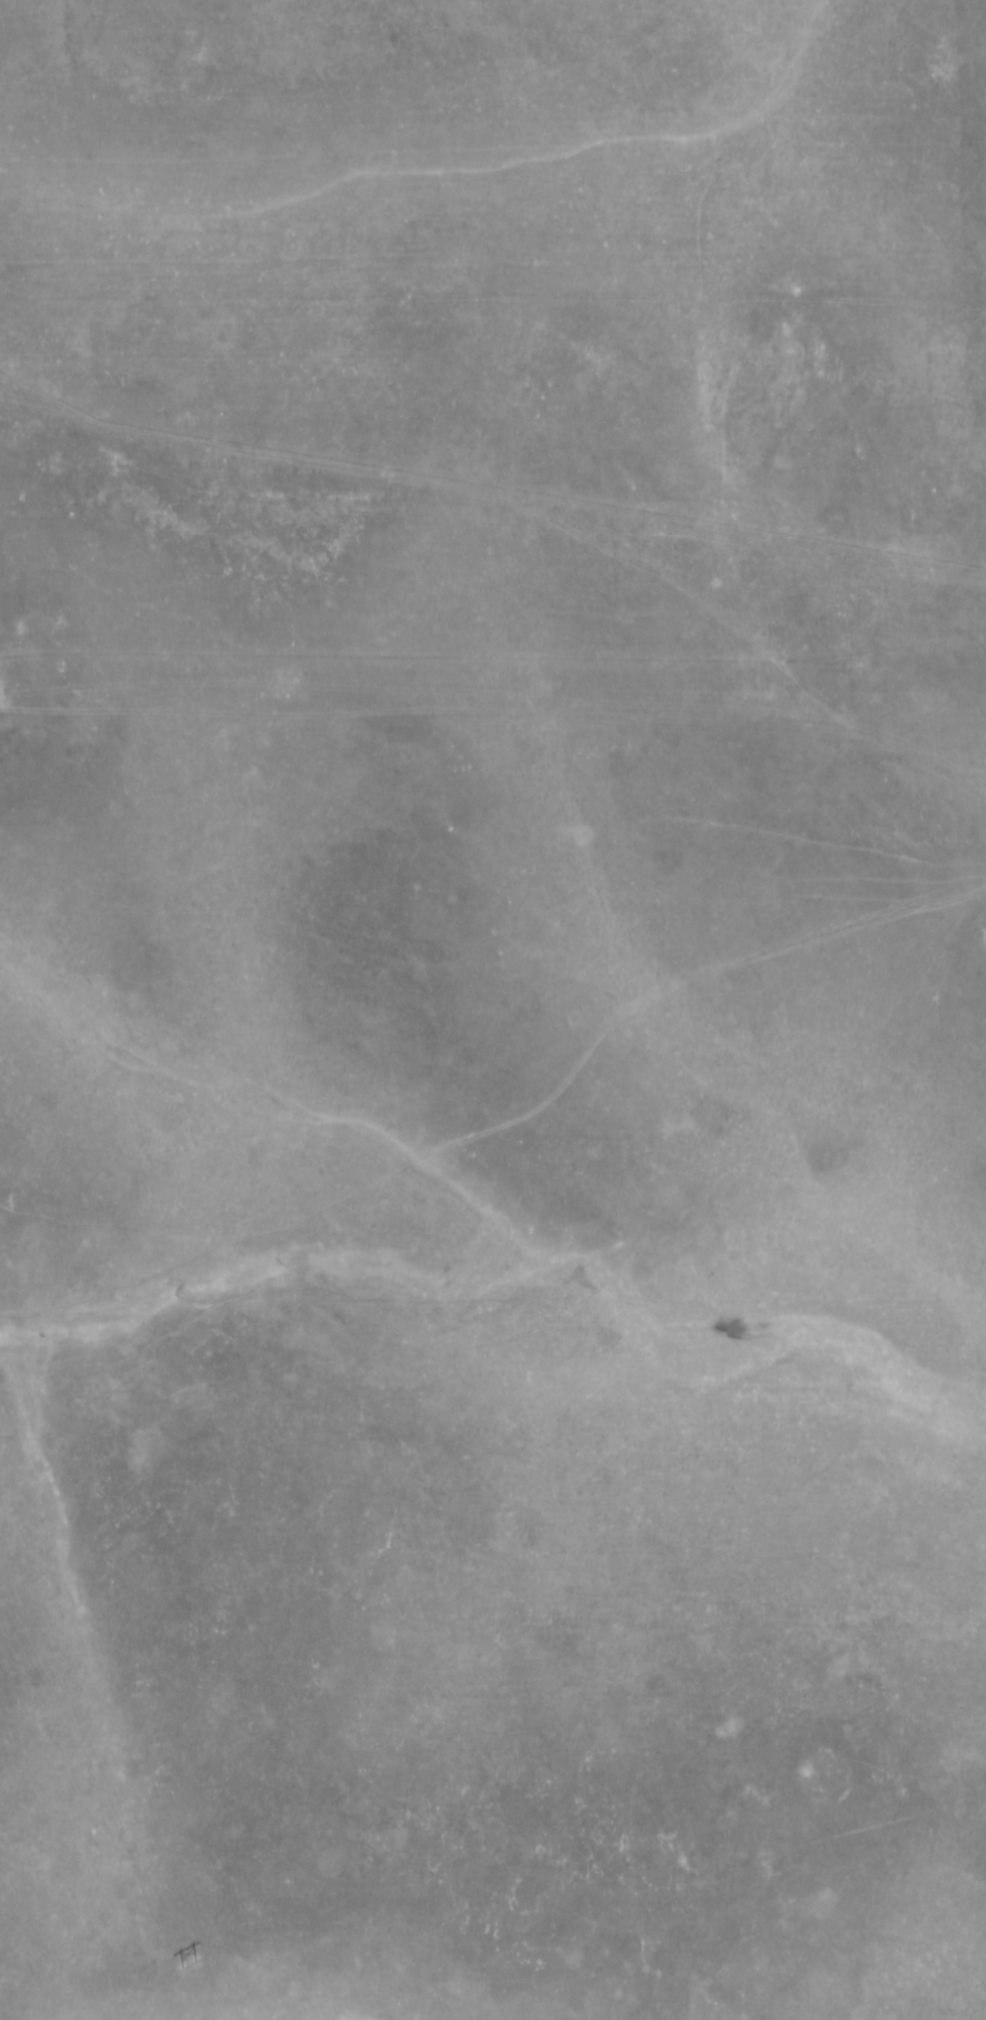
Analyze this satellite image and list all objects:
power tower: (185, 1965)

